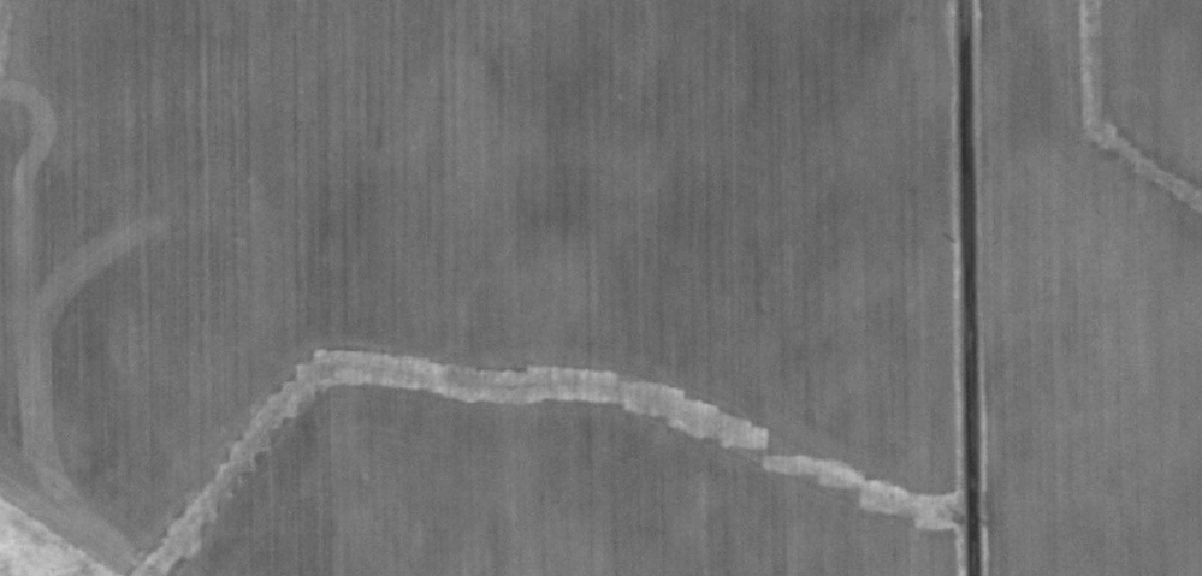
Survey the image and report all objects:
road: (965, 287)

